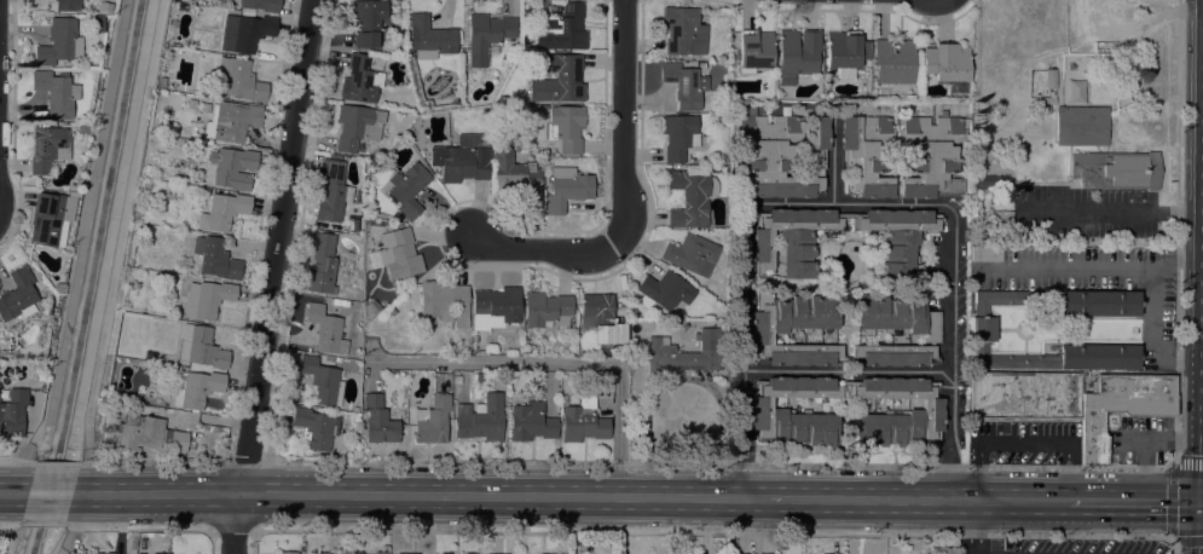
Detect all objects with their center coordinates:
building: (66, 5)
building: (262, 5)
building: (181, 6)
building: (368, 21)
building: (97, 23)
building: (565, 27)
building: (683, 30)
building: (244, 31)
building: (486, 35)
building: (430, 36)
building: (59, 42)
building: (754, 50)
building: (797, 53)
building: (843, 53)
building: (893, 60)
building: (949, 68)
building: (239, 79)
building: (1049, 79)
building: (360, 80)
building: (560, 80)
building: (161, 81)
building: (684, 83)
building: (56, 92)
building: (1075, 92)
building: (1049, 98)
building: (190, 103)
building: (206, 104)
building: (1046, 109)
building: (230, 121)
road: (625, 123)
building: (357, 126)
building: (1081, 126)
building: (566, 127)
building: (679, 137)
building: (47, 148)
building: (780, 154)
building: (866, 155)
building: (930, 155)
building: (463, 157)
road: (833, 161)
building: (232, 167)
building: (1116, 169)
building: (516, 177)
building: (989, 183)
building: (144, 184)
building: (566, 187)
building: (407, 189)
building: (332, 192)
building: (73, 194)
building: (690, 196)
road: (845, 201)
road: (1114, 209)
building: (222, 210)
building: (50, 218)
road: (123, 227)
building: (896, 236)
building: (791, 238)
road: (542, 248)
building: (399, 253)
building: (692, 254)
building: (987, 254)
building: (215, 258)
building: (322, 264)
road: (1072, 269)
road: (270, 277)
building: (57, 287)
building: (666, 290)
building: (17, 296)
building: (348, 296)
building: (355, 296)
building: (207, 298)
building: (341, 302)
building: (445, 302)
building: (1098, 302)
building: (372, 306)
building: (494, 307)
road: (1156, 307)
building: (152, 311)
building: (548, 311)
building: (598, 314)
building: (898, 316)
building: (325, 329)
building: (982, 329)
building: (771, 330)
building: (473, 339)
building: (201, 346)
building: (686, 352)
building: (895, 353)
building: (149, 354)
road: (560, 362)
building: (348, 363)
road: (845, 370)
building: (322, 380)
building: (457, 380)
building: (195, 388)
building: (1024, 396)
building: (1121, 406)
building: (771, 411)
building: (12, 412)
building: (898, 412)
building: (479, 417)
building: (583, 419)
building: (432, 420)
building: (380, 421)
building: (531, 421)
building: (316, 427)
building: (146, 433)
road: (1023, 443)
road: (1147, 445)
road: (148, 460)
road: (23, 461)
road: (247, 461)
road: (58, 462)
road: (721, 463)
road: (81, 474)
road: (12, 492)
road: (51, 494)
road: (407, 494)
road: (844, 498)
road: (1008, 500)
road: (1135, 501)
road: (1172, 501)
road: (73, 521)
road: (15, 524)
road: (42, 524)
road: (976, 526)
road: (132, 527)
road: (231, 531)
road: (710, 533)
road: (1173, 544)
road: (62, 552)
building: (355, 552)
building: (380, 552)
building: (93, 553)
building: (161, 553)
building: (288, 553)
building: (326, 553)
building: (366, 553)
building: (394, 553)
building: (406, 553)
building: (444, 553)
building: (455, 553)
building: (469, 553)
building: (735, 553)
building: (764, 553)
building: (827, 553)

